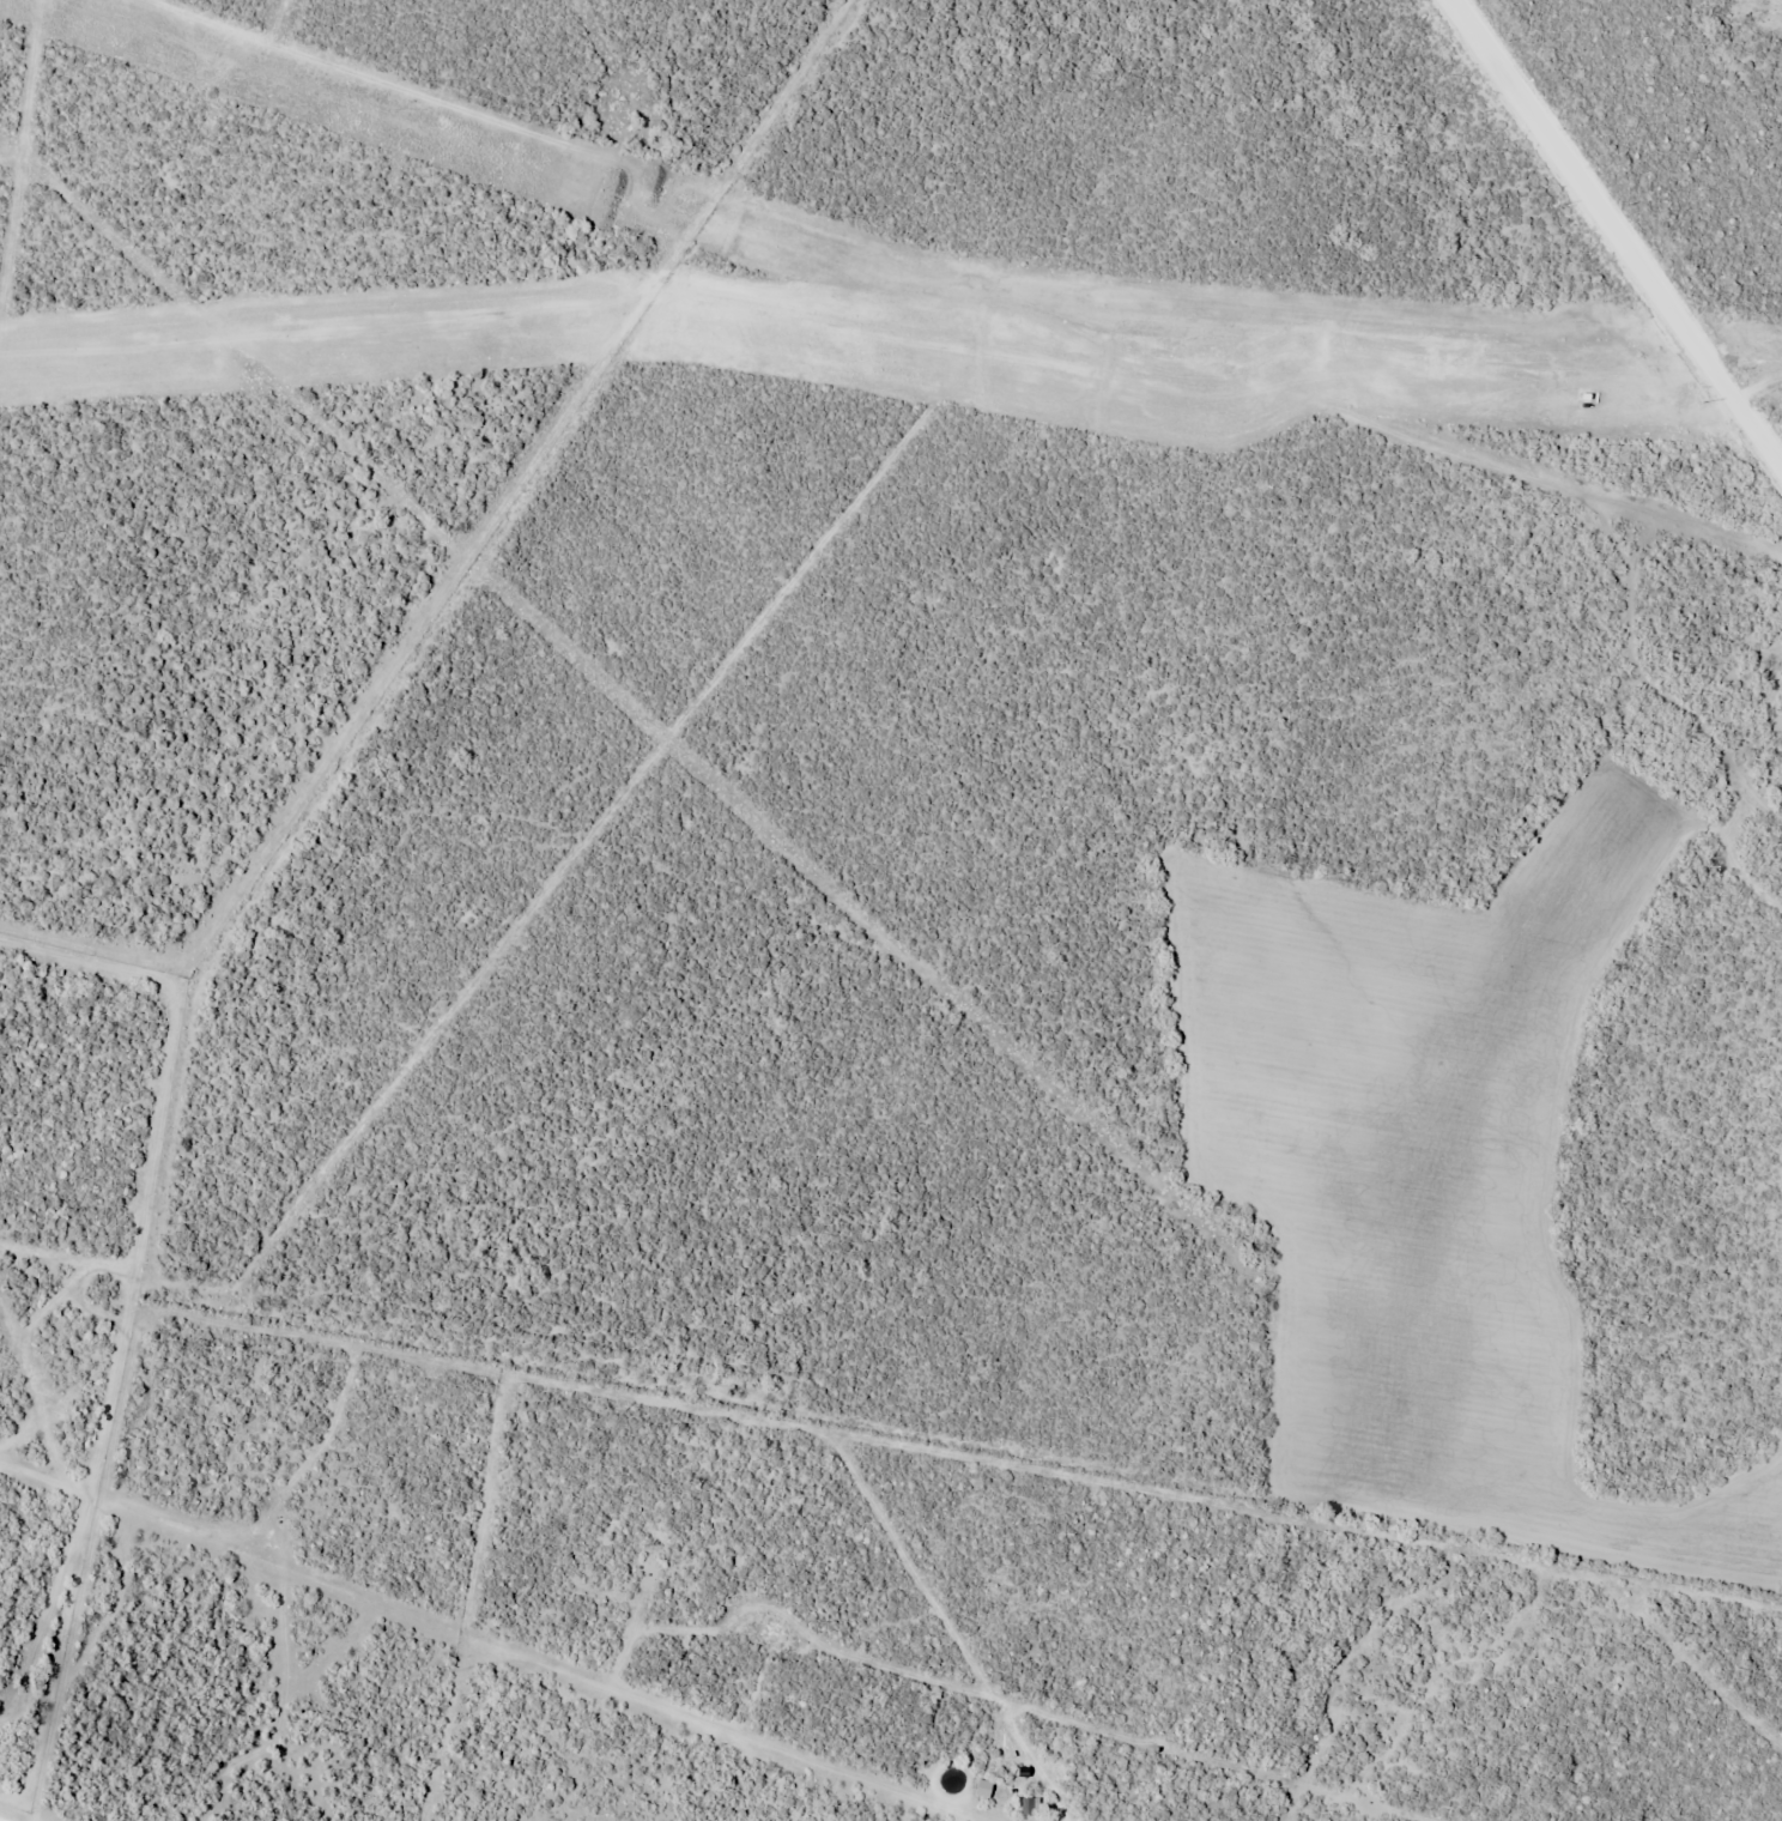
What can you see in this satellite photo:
road: (1614, 235)

